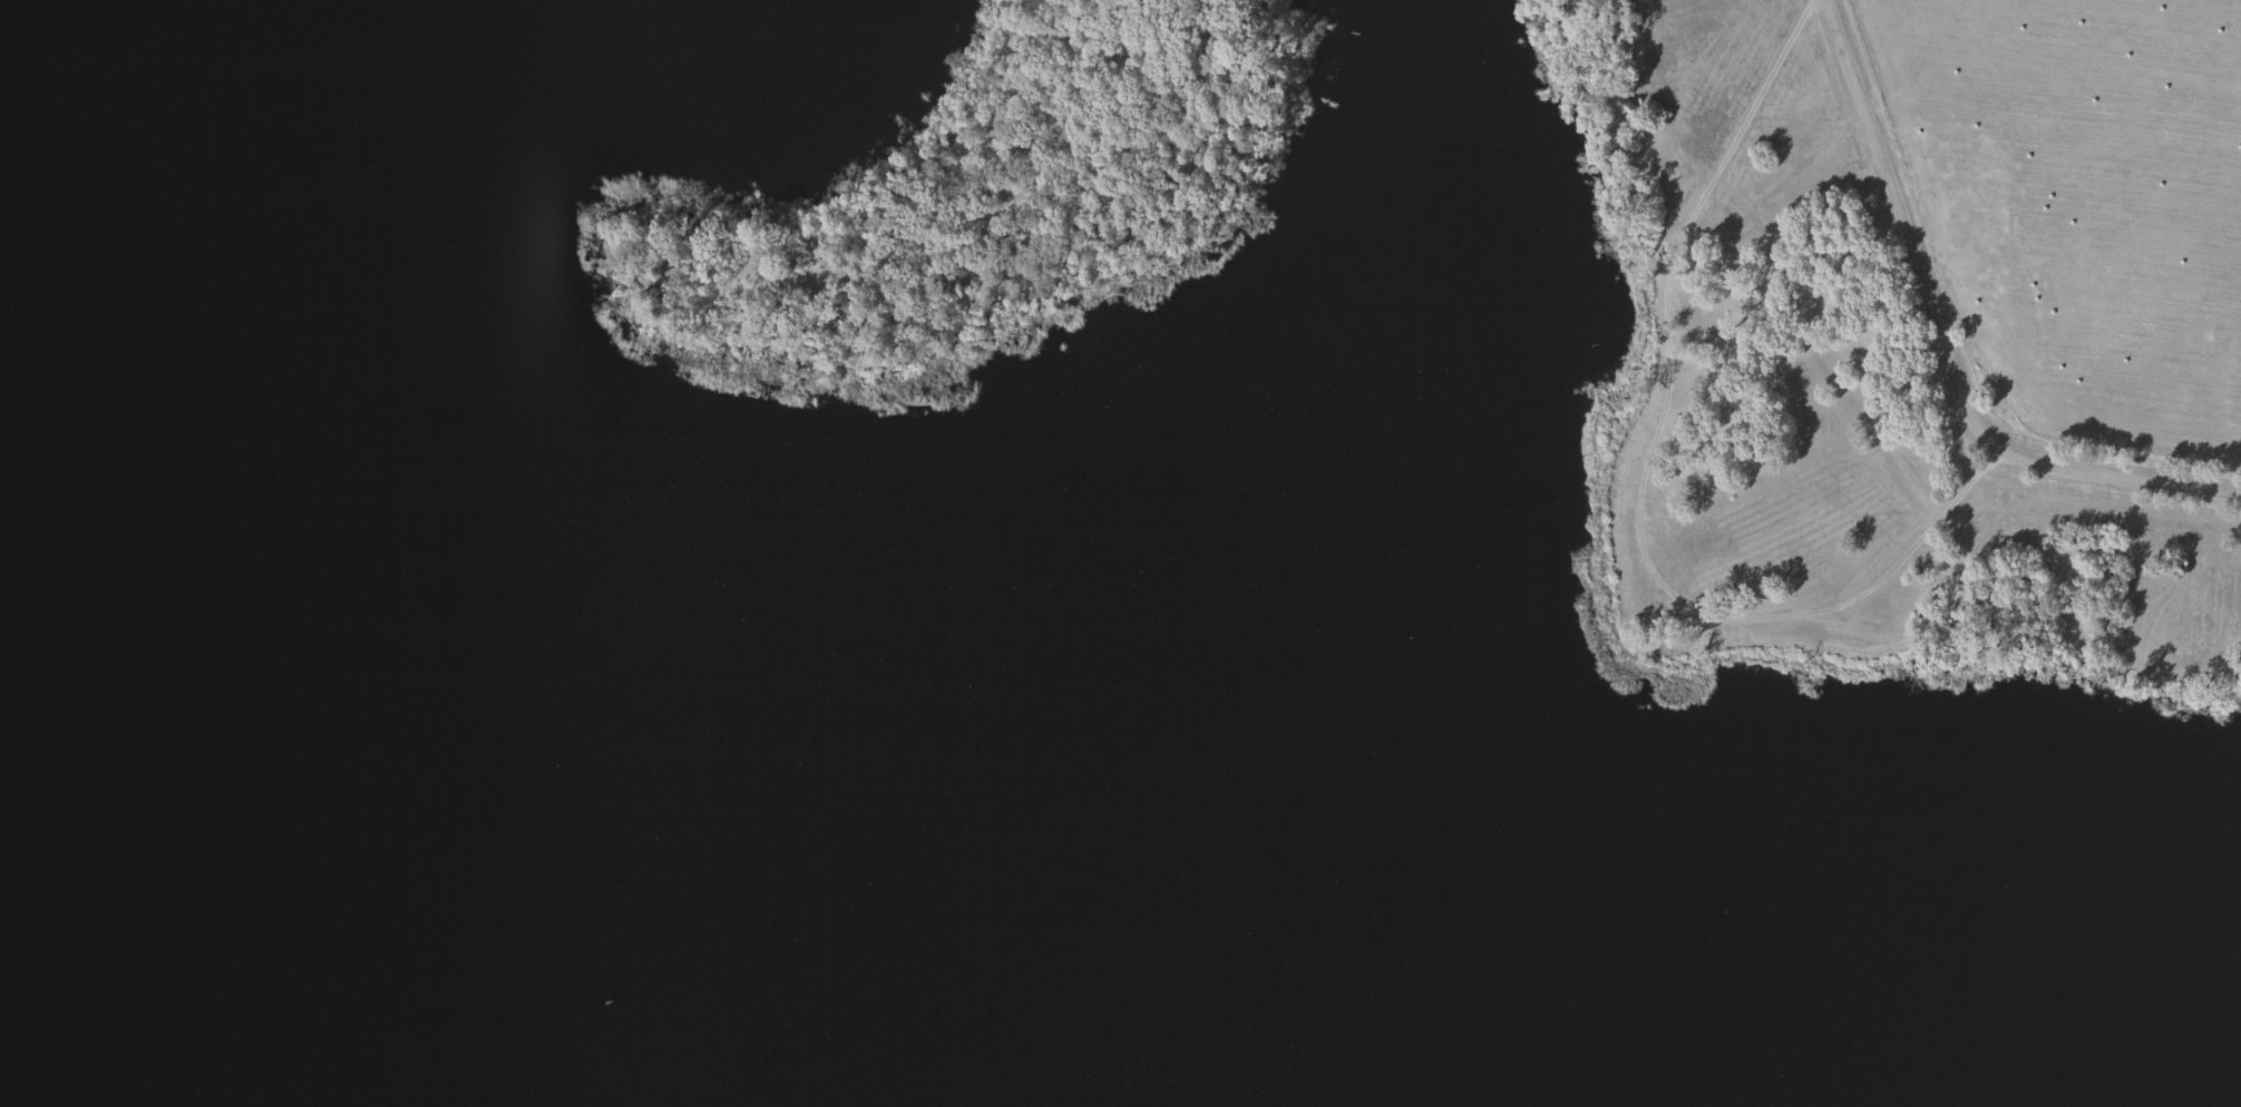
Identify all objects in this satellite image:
road: (1946, 347)
road: (1638, 484)
building: (796, 717)
building: (1118, 874)

